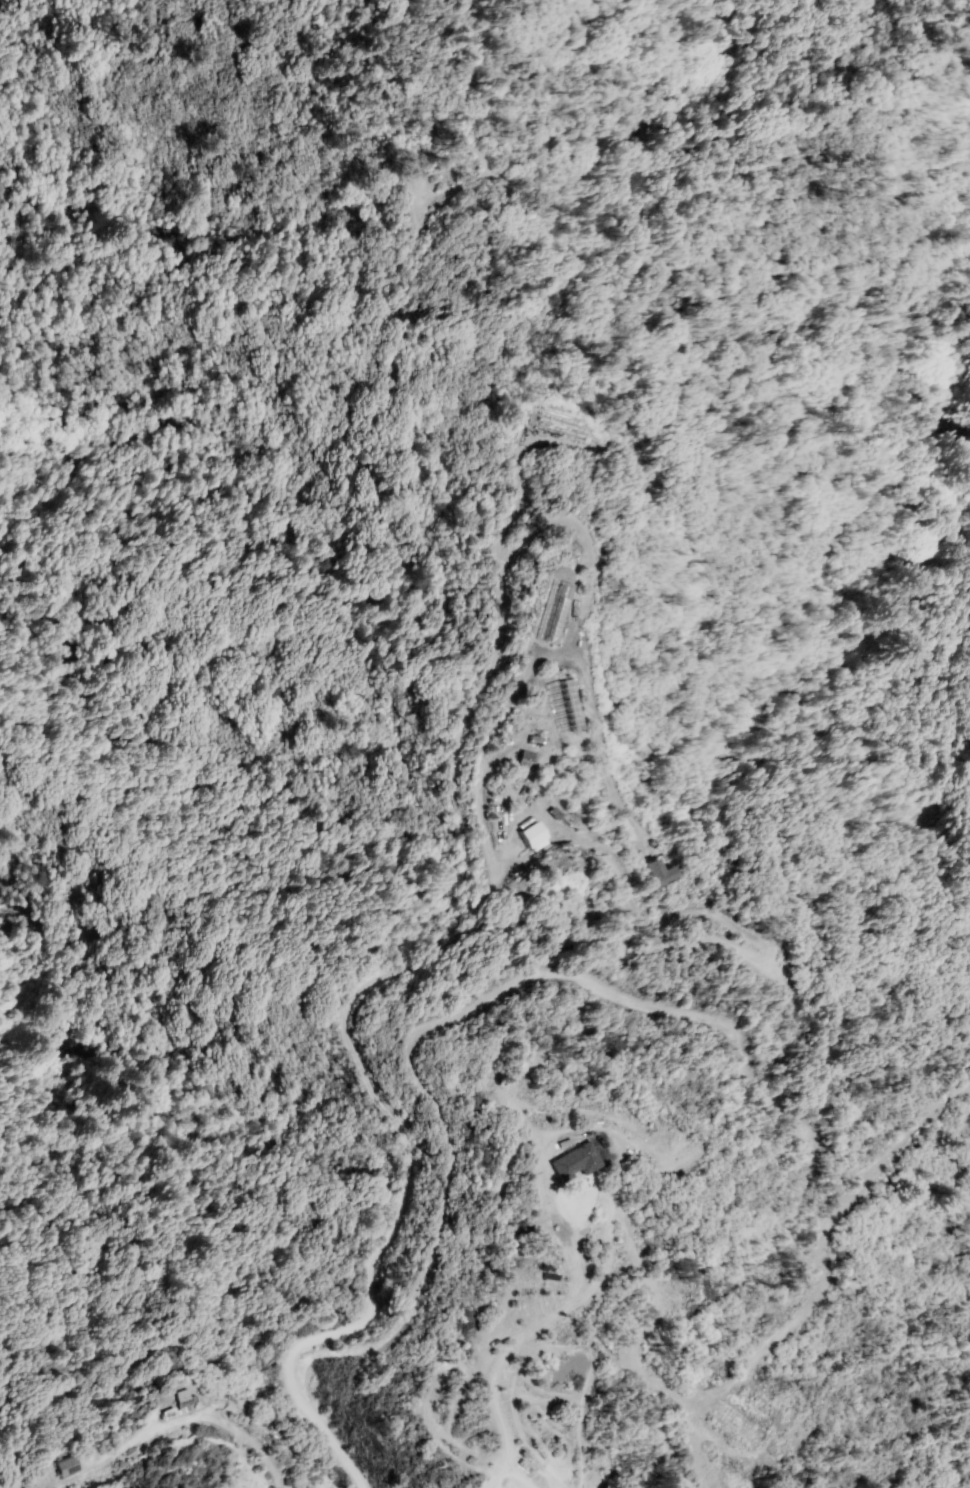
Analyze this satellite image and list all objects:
building: (547, 612)
road: (490, 733)
building: (532, 759)
road: (448, 798)
building: (531, 838)
building: (659, 872)
road: (620, 997)
building: (575, 1166)
road: (370, 1255)
road: (511, 1345)
building: (182, 1398)
building: (167, 1414)
building: (738, 1426)
road: (176, 1427)
building: (67, 1463)
road: (699, 1476)

